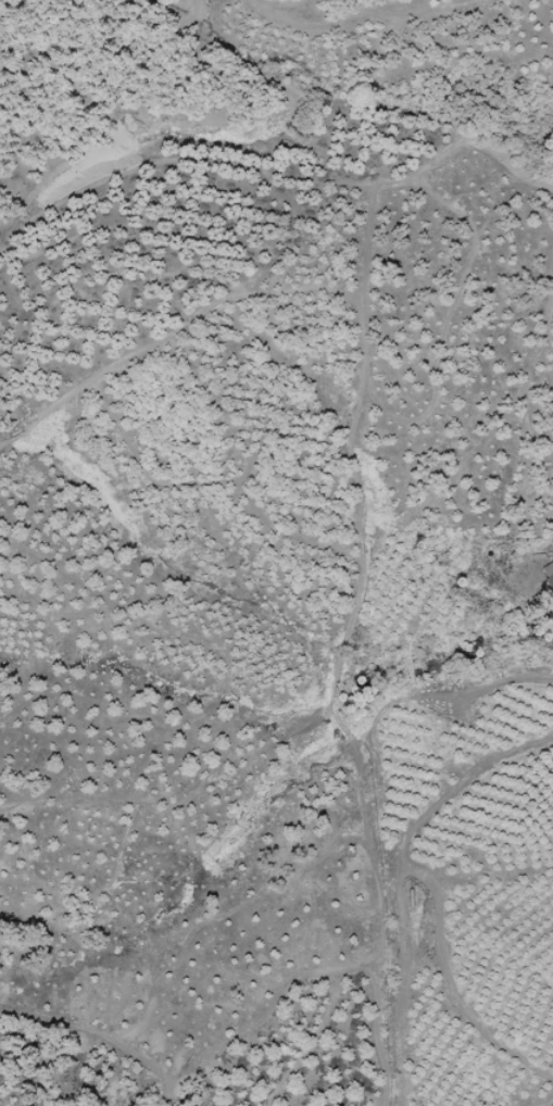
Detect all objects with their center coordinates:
building: (548, 574)

